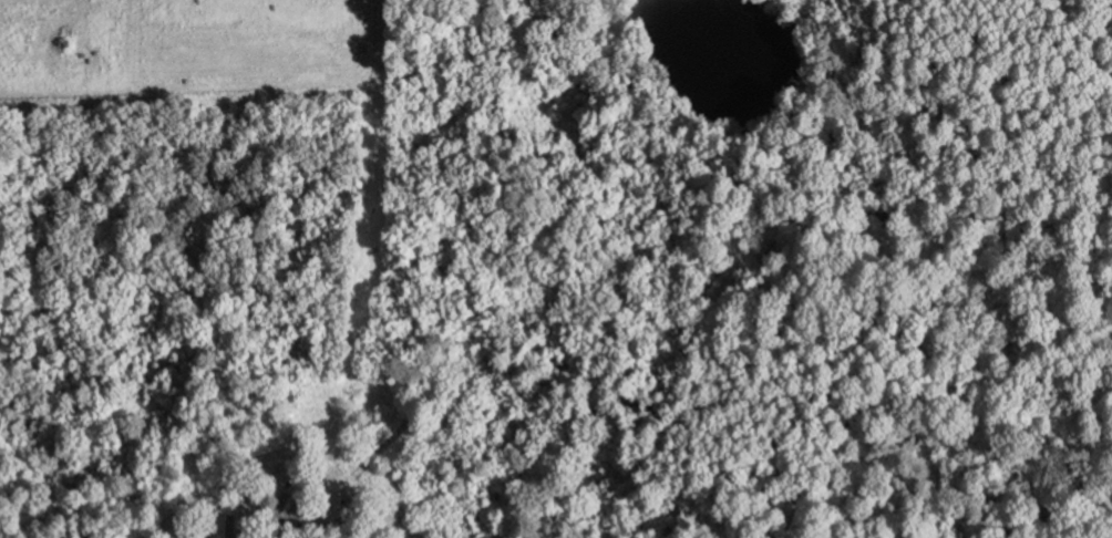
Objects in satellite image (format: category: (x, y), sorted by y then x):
road: (288, 404)
road: (284, 514)

